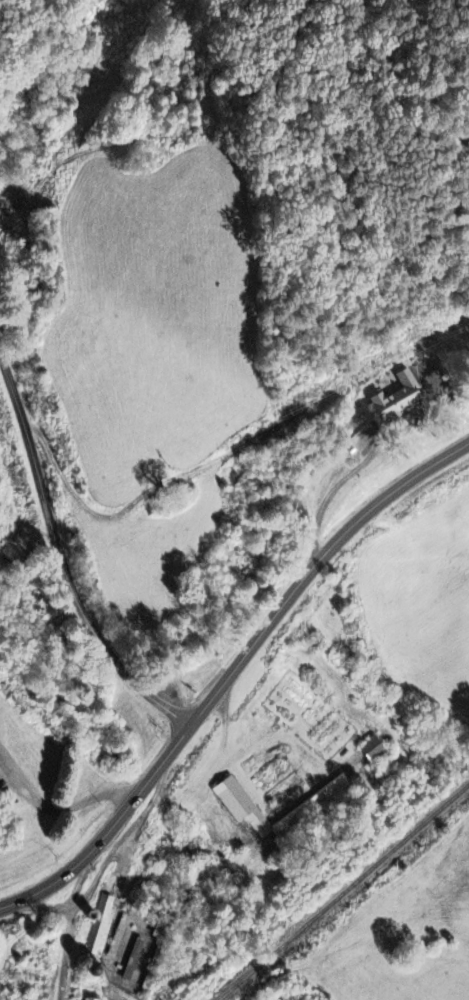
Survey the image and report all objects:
building: (402, 398)
road: (62, 559)
road: (232, 670)
building: (375, 750)
road: (59, 806)
building: (249, 810)
railway: (343, 892)
building: (102, 927)
building: (119, 938)
building: (134, 961)

